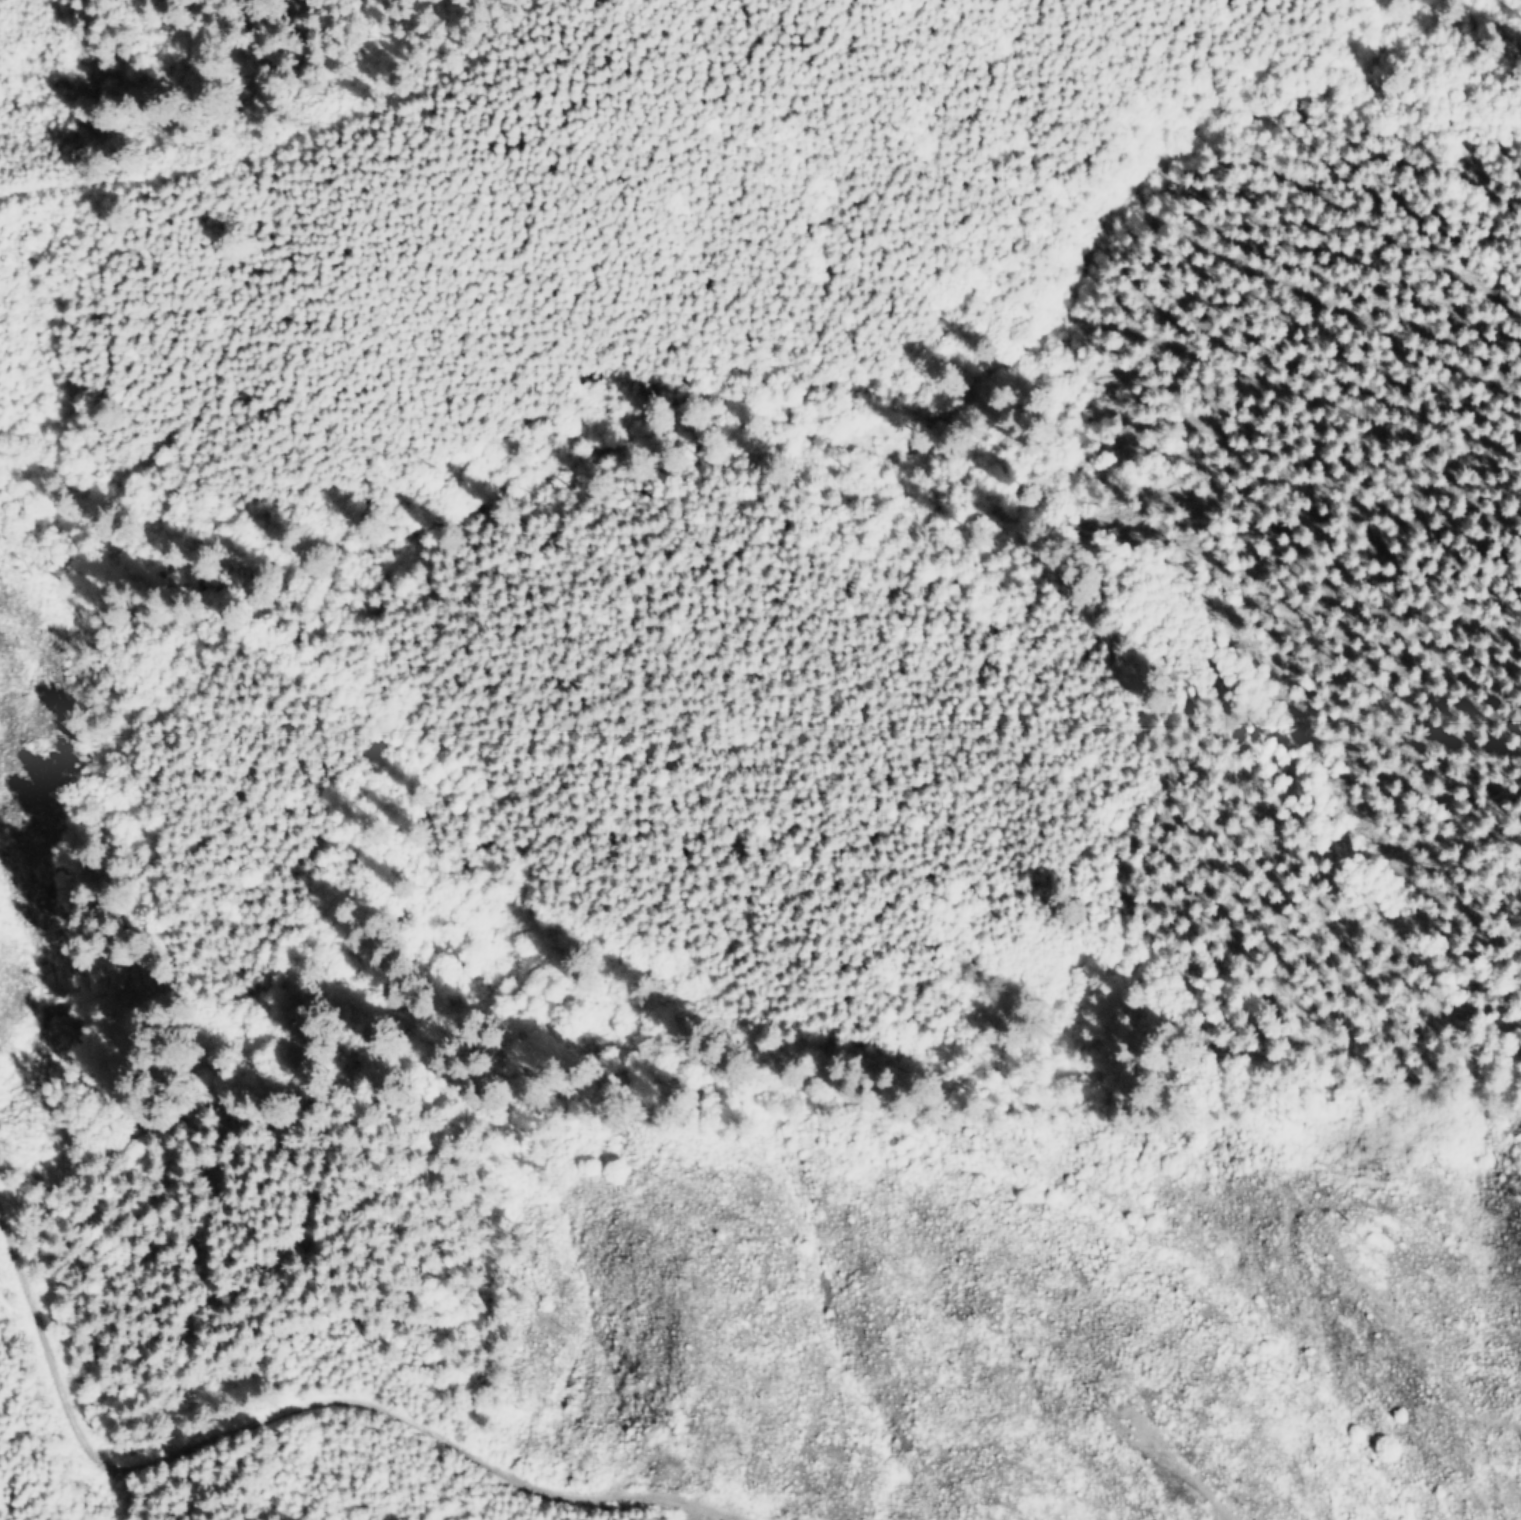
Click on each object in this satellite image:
road: (118, 1381)

